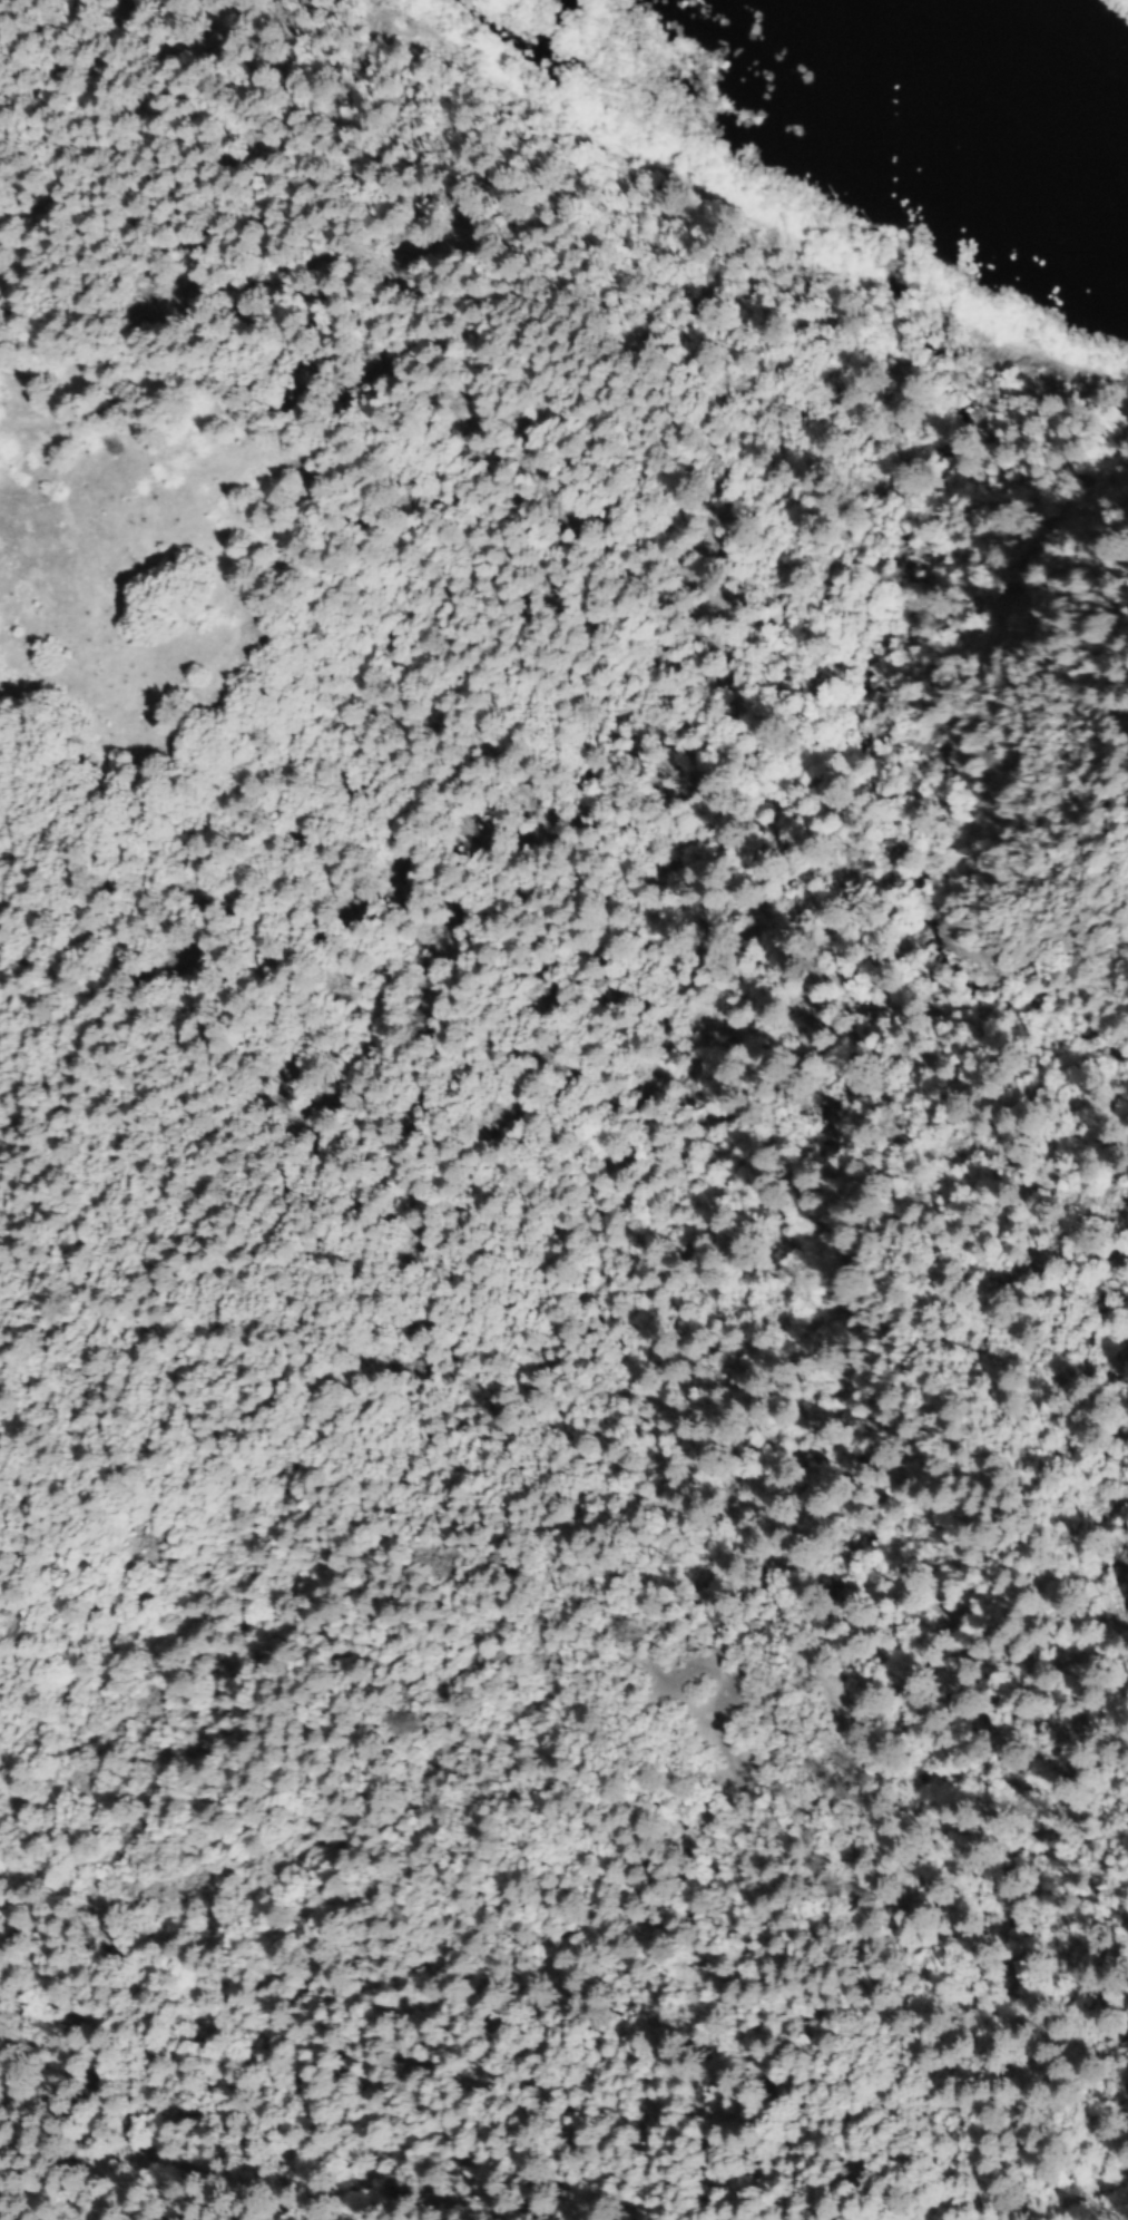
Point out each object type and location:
river: (1019, 94)

